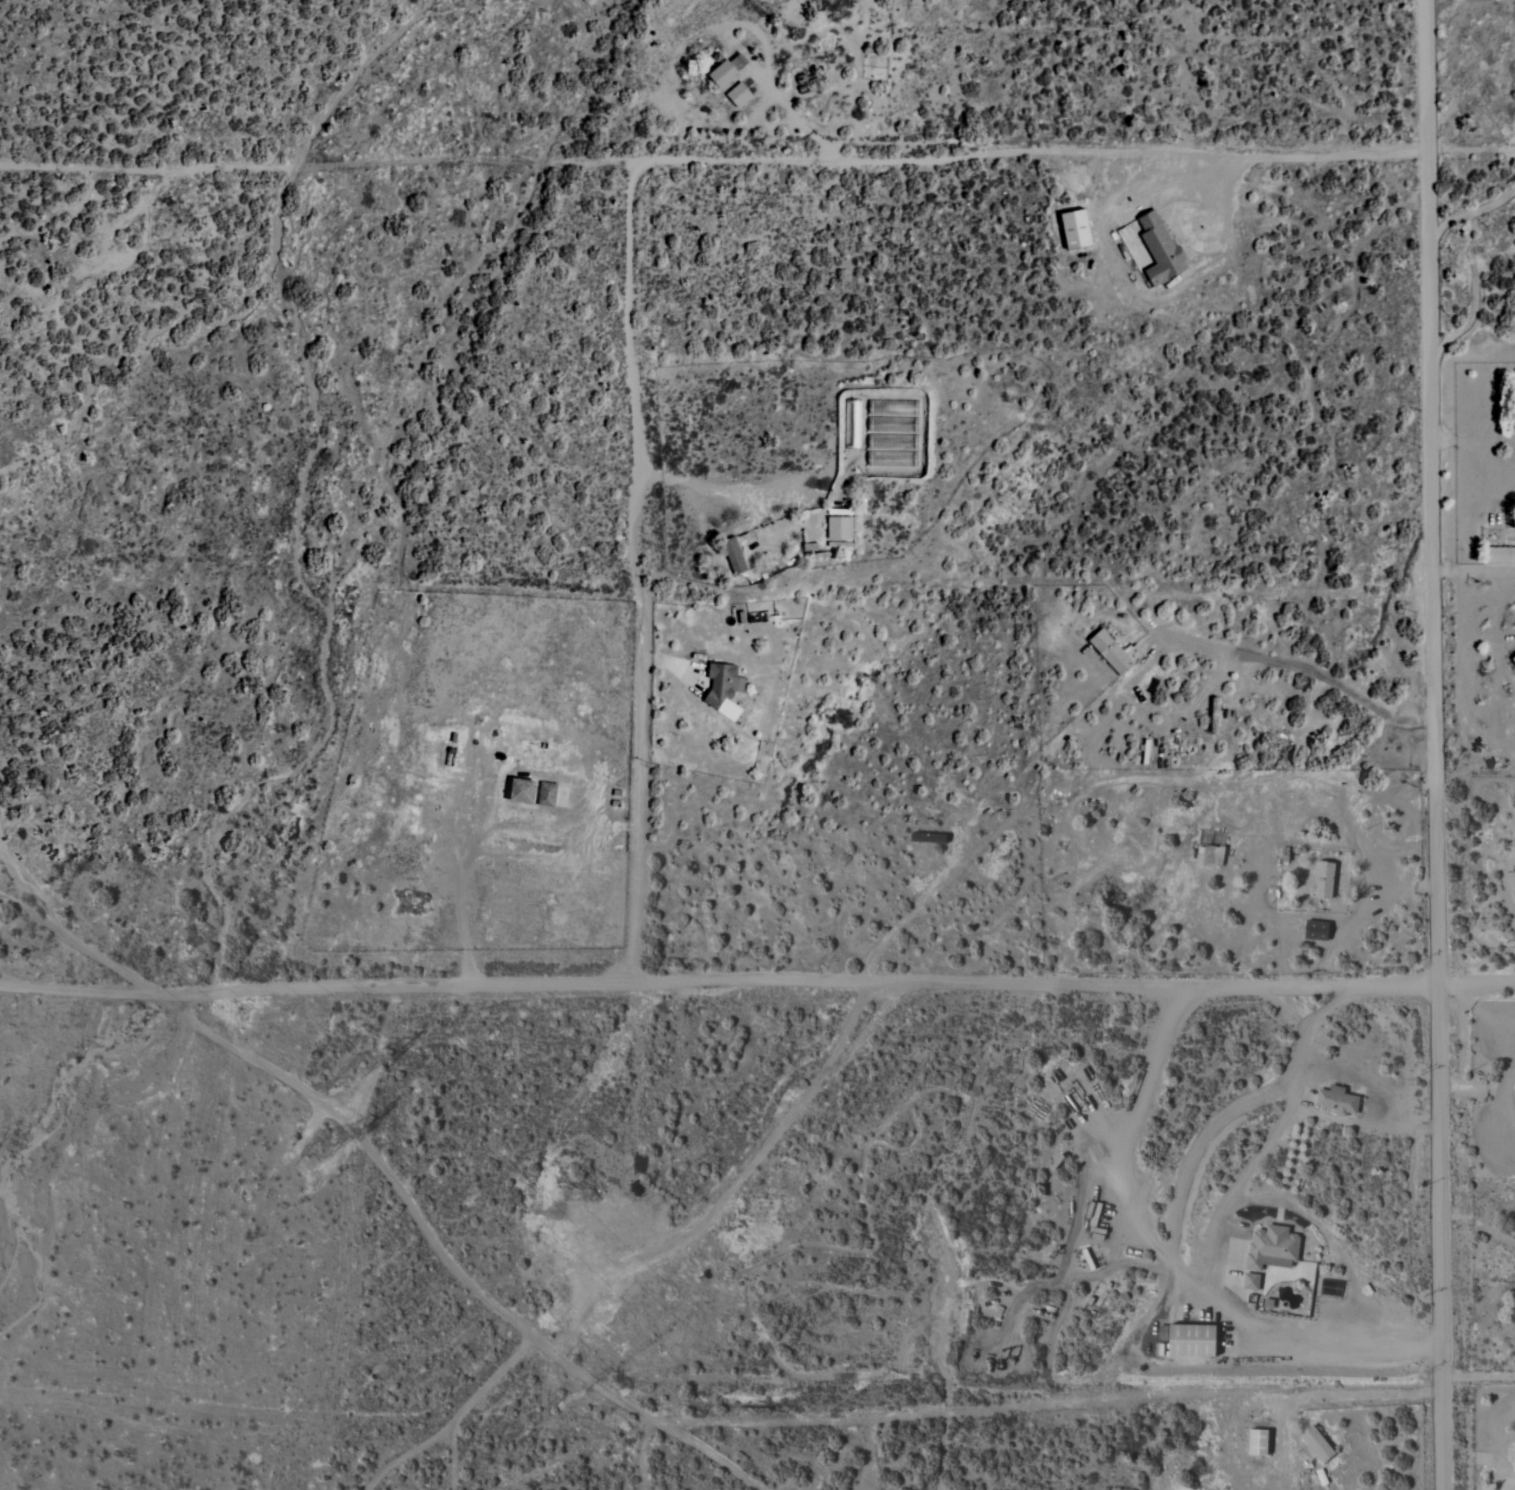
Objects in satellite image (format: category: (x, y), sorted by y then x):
building: (724, 76)
building: (738, 95)
road: (1470, 149)
road: (1030, 155)
road: (1179, 180)
building: (1075, 230)
building: (1160, 249)
road: (1472, 442)
road: (1429, 491)
road: (732, 498)
road: (691, 499)
building: (734, 555)
building: (1499, 555)
road: (635, 570)
road: (1472, 571)
building: (1113, 652)
building: (1513, 659)
road: (1303, 667)
building: (723, 689)
road: (1476, 711)
building: (521, 790)
building: (546, 794)
building: (1514, 872)
building: (1324, 879)
building: (1316, 930)
road: (719, 981)
road: (1477, 982)
road: (1505, 1059)
power tower: (352, 1068)
road: (1471, 1087)
building: (1337, 1100)
road: (1241, 1106)
road: (1505, 1112)
road: (1132, 1113)
power tower: (309, 1140)
road: (382, 1161)
road: (1440, 1236)
building: (1272, 1248)
road: (1212, 1256)
road: (1175, 1277)
building: (1251, 1281)
building: (1191, 1341)
road: (1479, 1377)
road: (1334, 1392)
building: (1257, 1443)
building: (1317, 1444)

